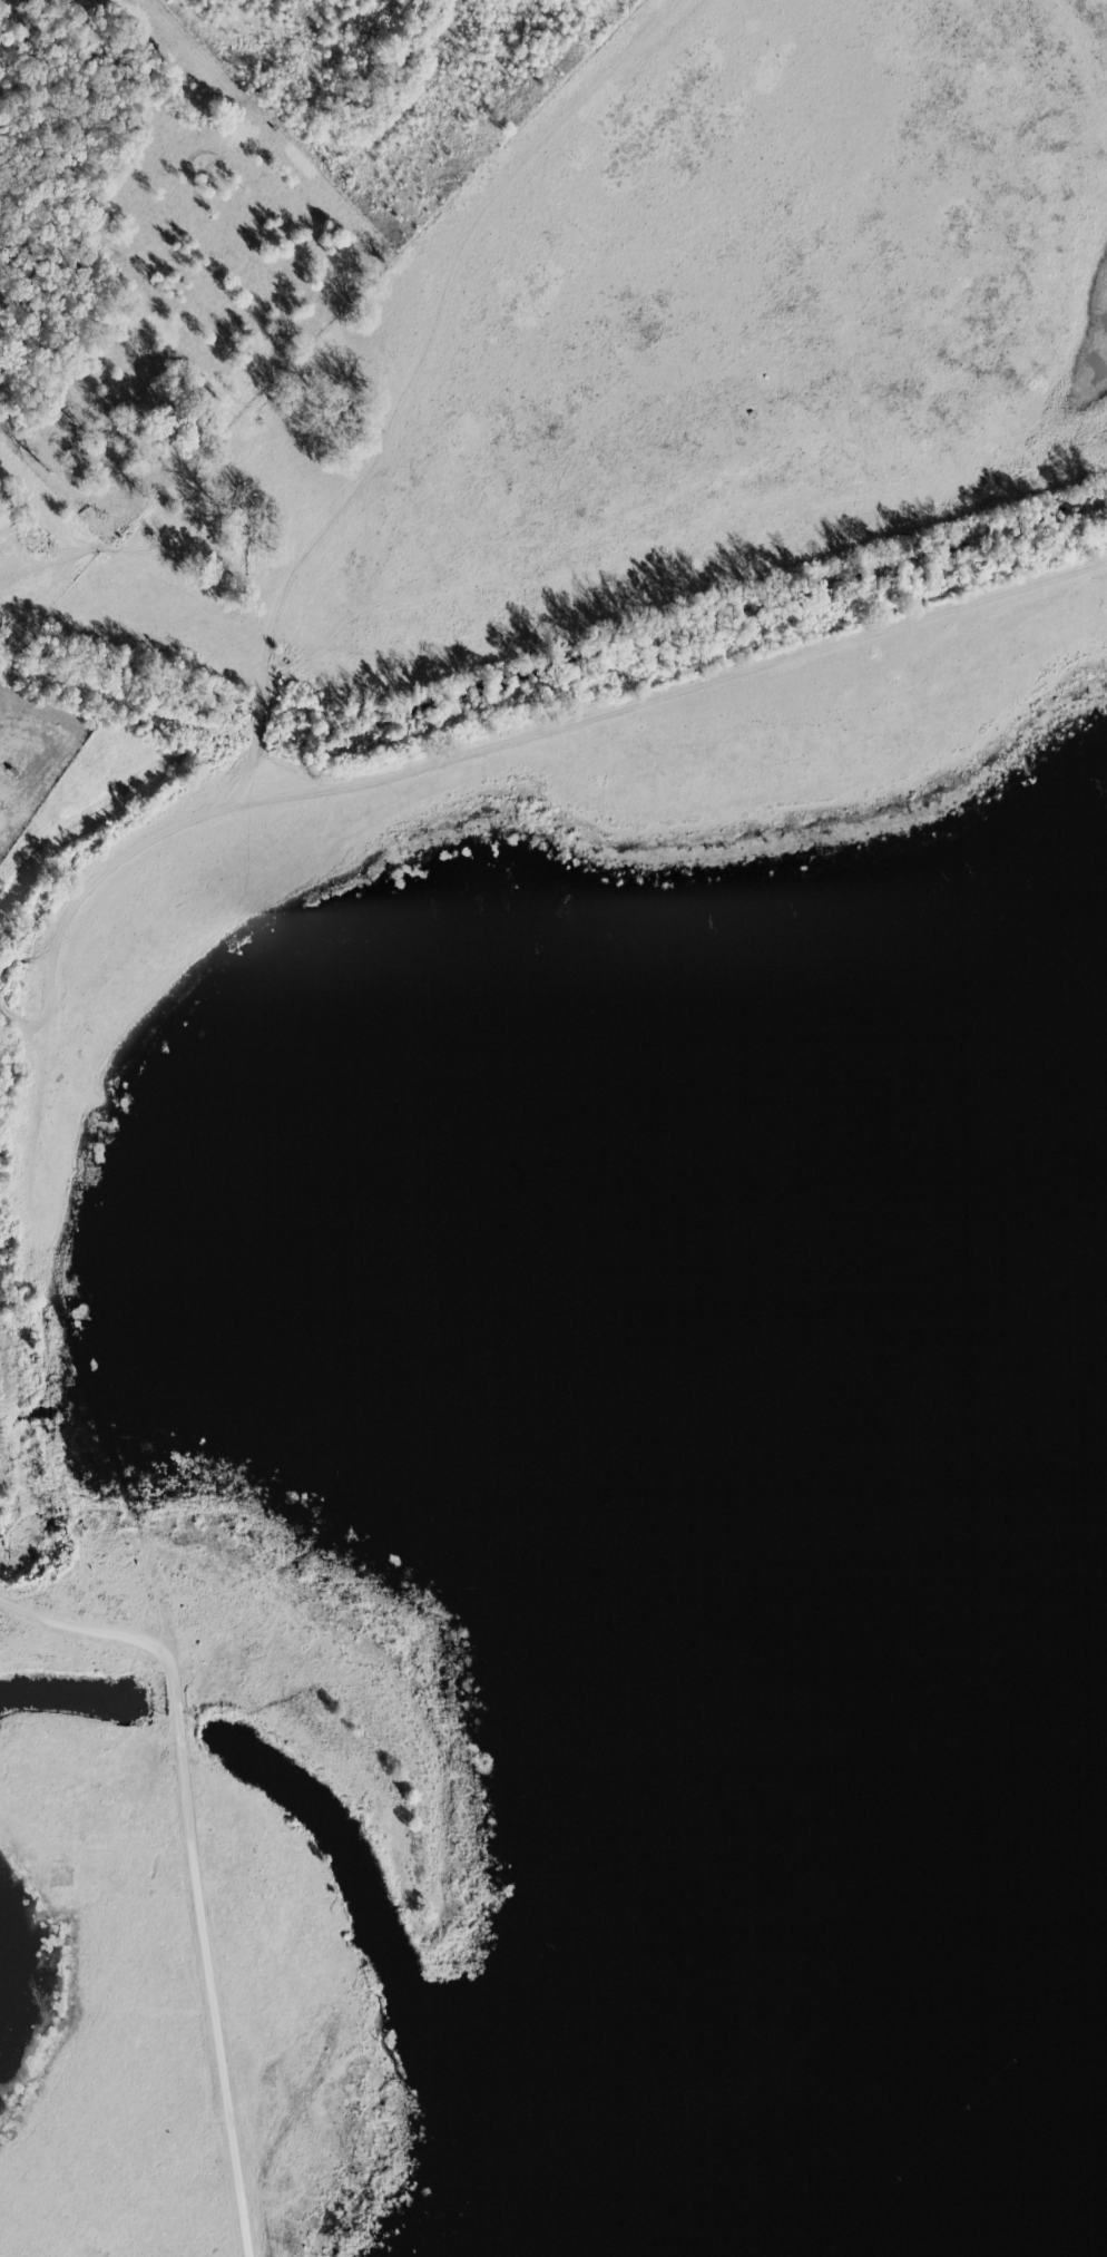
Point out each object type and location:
road: (189, 1874)

